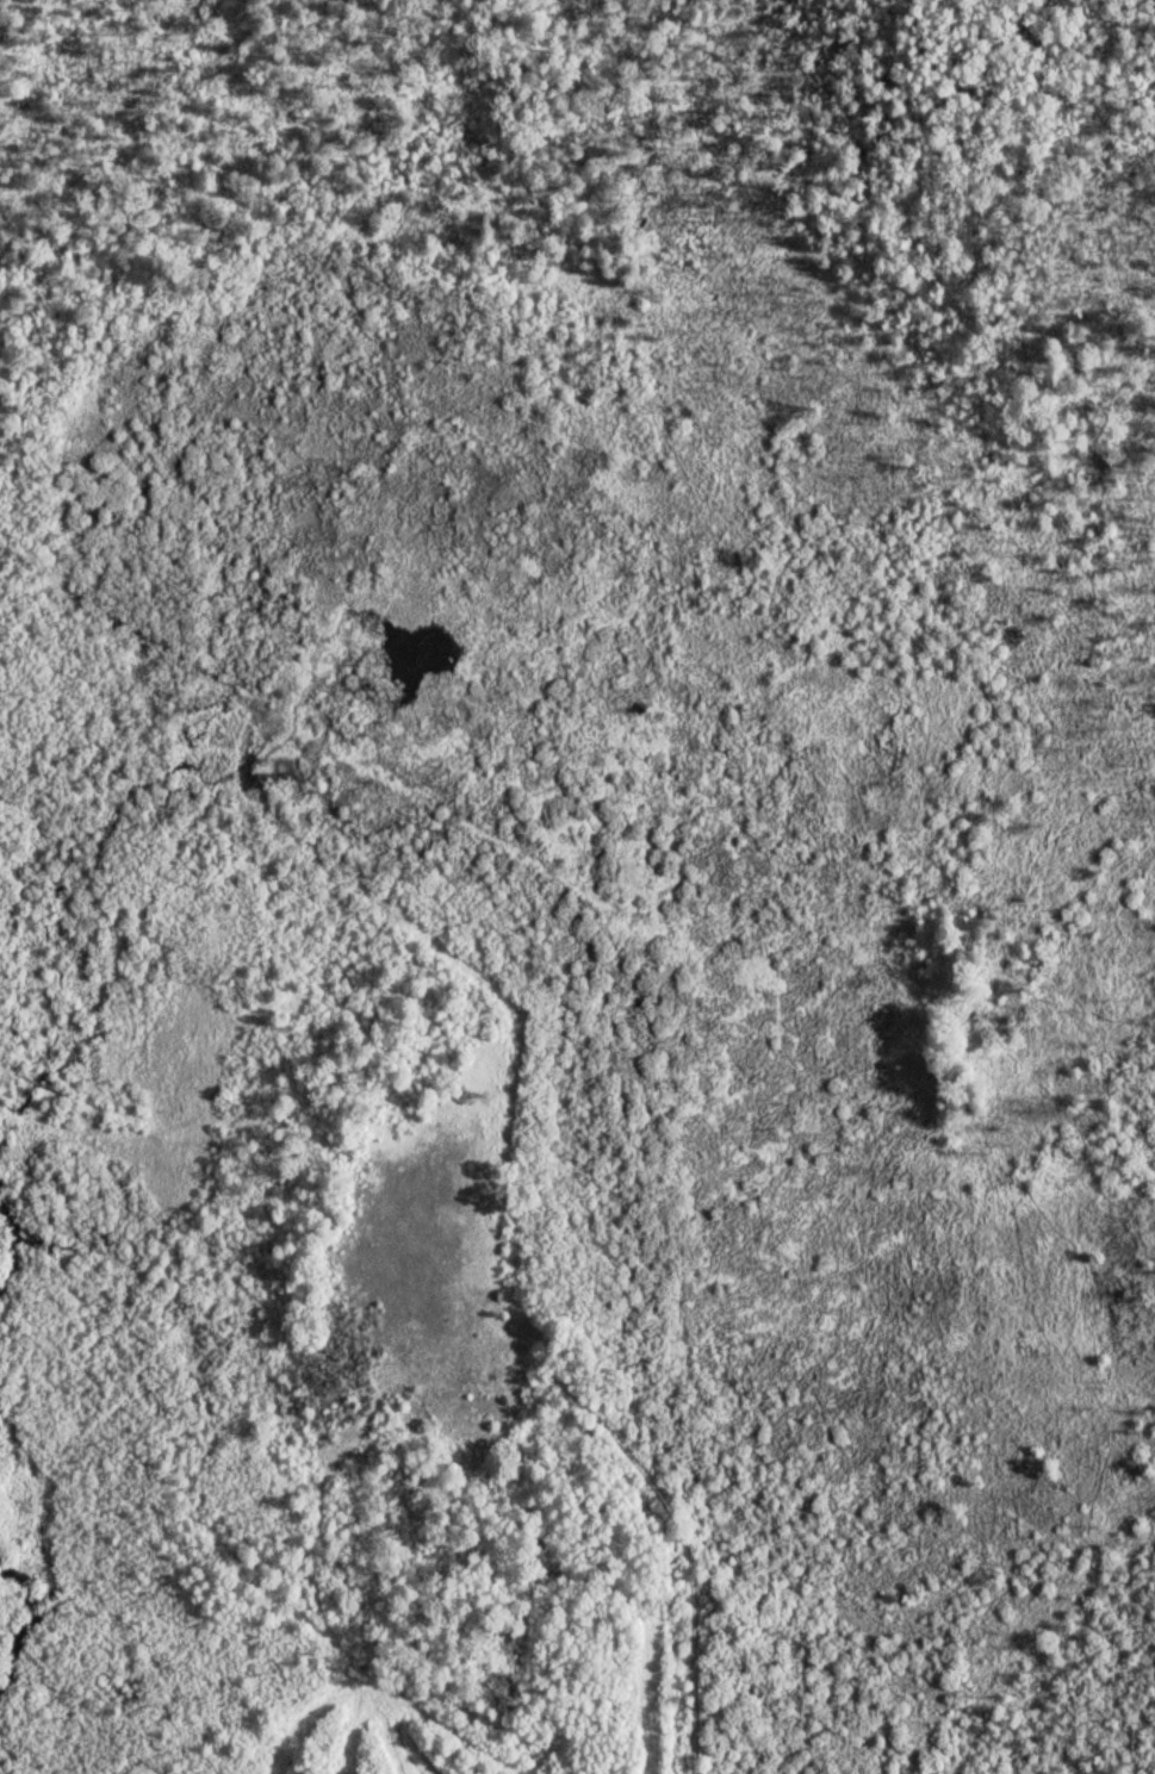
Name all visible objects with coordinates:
road: (645, 1486)
river: (26, 1624)

